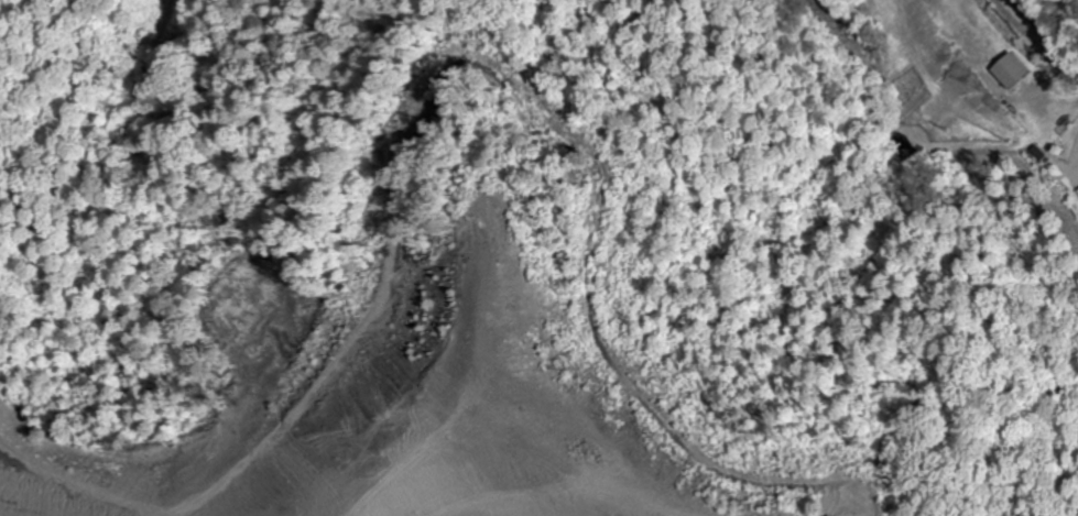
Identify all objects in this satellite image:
road: (1043, 34)
building: (1008, 73)

